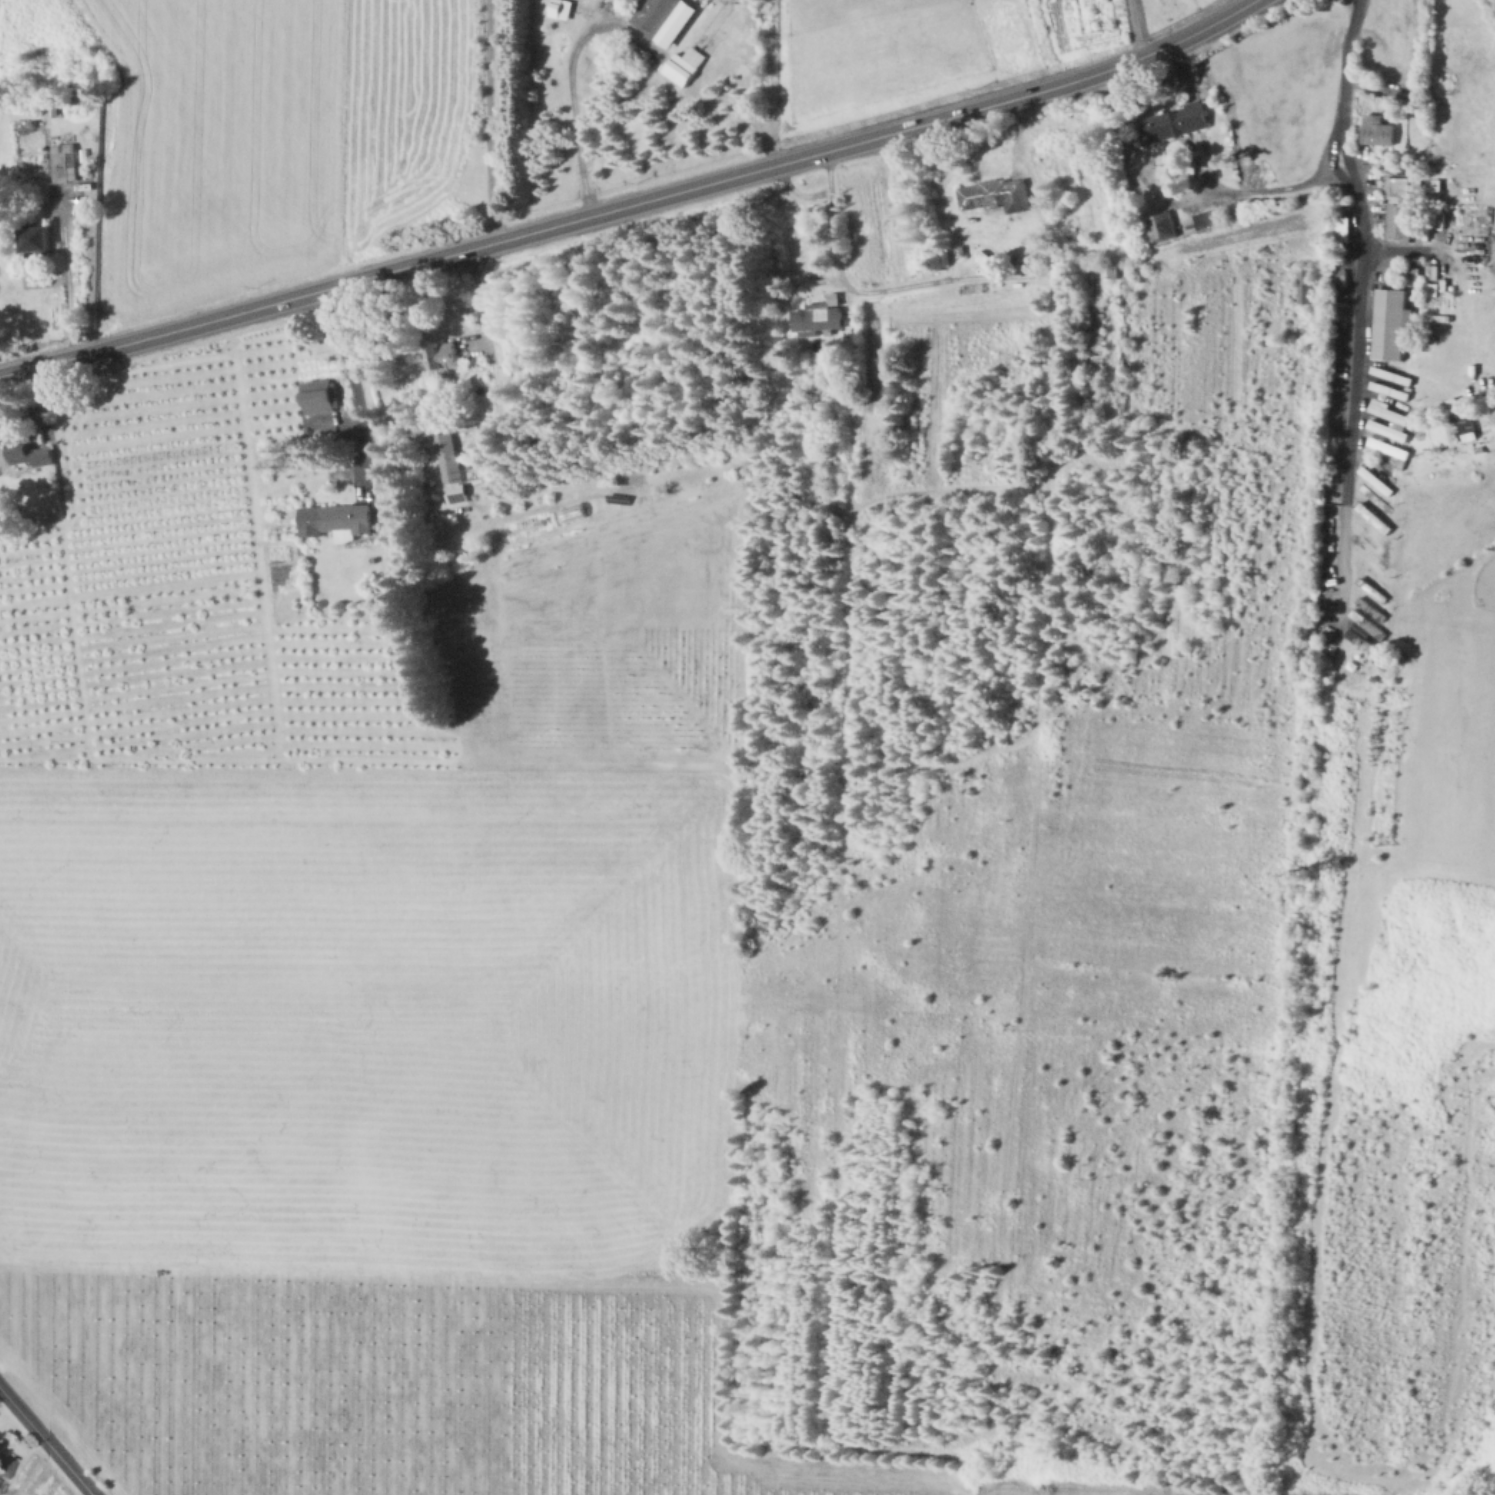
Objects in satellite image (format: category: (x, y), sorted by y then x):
building: (559, 8)
crop: (0, 12)
building: (656, 14)
building: (676, 23)
road: (1138, 28)
building: (682, 69)
road: (570, 76)
road: (488, 120)
building: (1177, 123)
building: (1380, 131)
crop: (272, 135)
building: (66, 162)
road: (1206, 168)
road: (1254, 191)
road: (802, 192)
building: (998, 195)
road: (633, 203)
building: (1400, 209)
building: (1205, 220)
building: (1161, 226)
building: (1344, 229)
road: (63, 236)
building: (39, 239)
building: (1143, 271)
building: (1306, 286)
road: (1463, 287)
road: (873, 291)
road: (478, 294)
building: (835, 298)
road: (1356, 315)
building: (818, 319)
building: (1393, 325)
building: (1097, 333)
building: (442, 356)
building: (1389, 374)
road: (353, 381)
building: (1386, 389)
building: (320, 397)
building: (1436, 403)
building: (1386, 412)
building: (1465, 425)
building: (1384, 429)
building: (1381, 444)
building: (32, 455)
building: (450, 455)
building: (1373, 479)
building: (459, 494)
building: (1372, 497)
building: (1371, 515)
building: (348, 521)
building: (401, 566)
building: (1368, 606)
building: (1365, 620)
crop: (617, 640)
building: (1365, 642)
road: (1412, 697)
crop: (373, 1130)
road: (1307, 1389)
road: (47, 1441)
building: (6, 1468)

